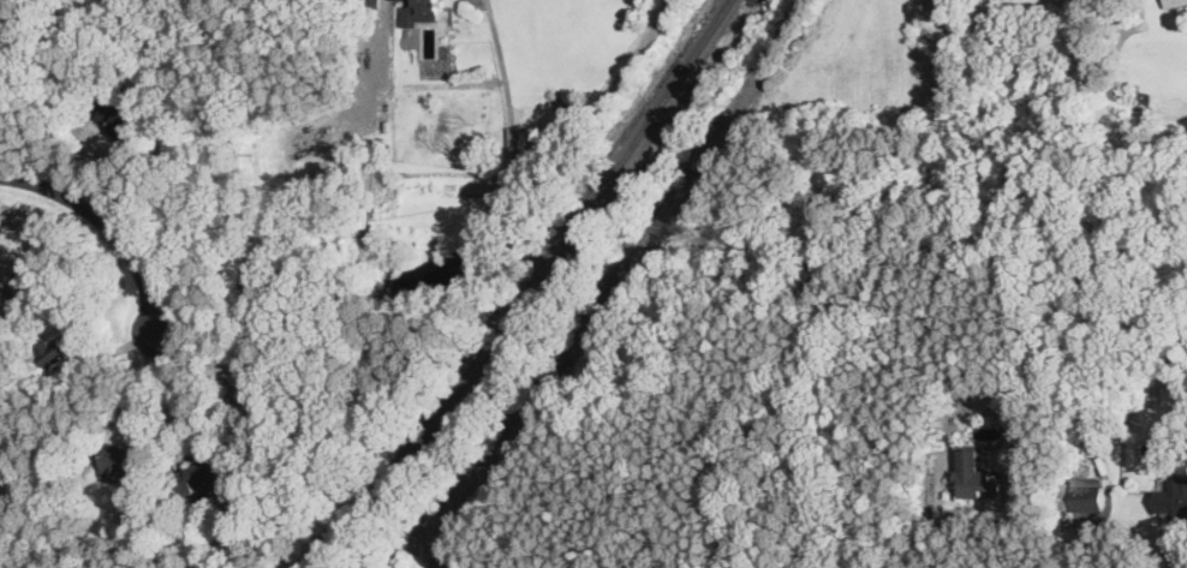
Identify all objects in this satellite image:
building: (1174, 1)
building: (418, 11)
building: (117, 115)
road: (542, 177)
road: (107, 222)
road: (618, 280)
road: (470, 294)
railway: (531, 294)
building: (58, 347)
road: (175, 388)
building: (260, 390)
building: (118, 462)
building: (974, 474)
building: (199, 476)
building: (1086, 494)
building: (1171, 496)
road: (937, 521)
road: (437, 560)
road: (436, 564)

